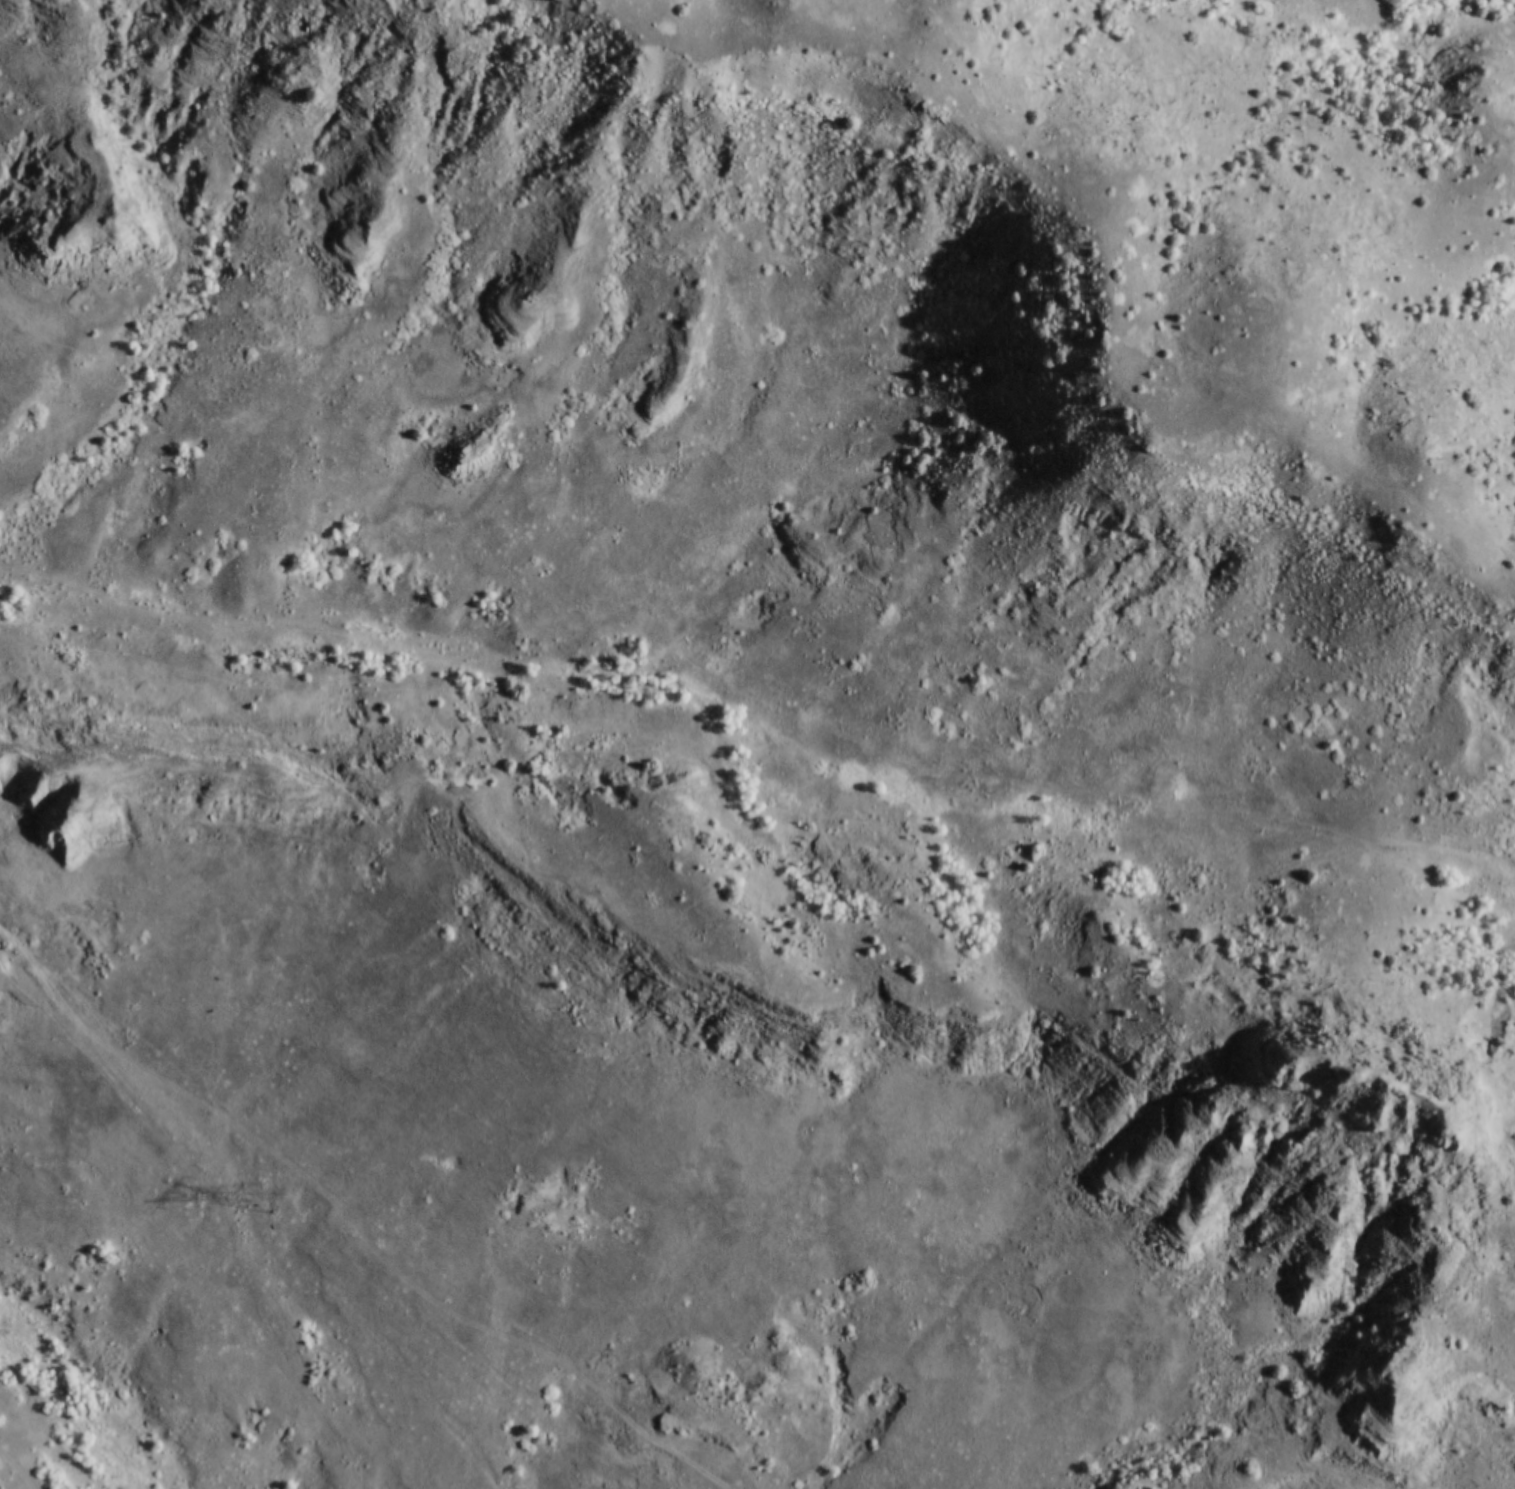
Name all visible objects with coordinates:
power tower: (272, 1197)

